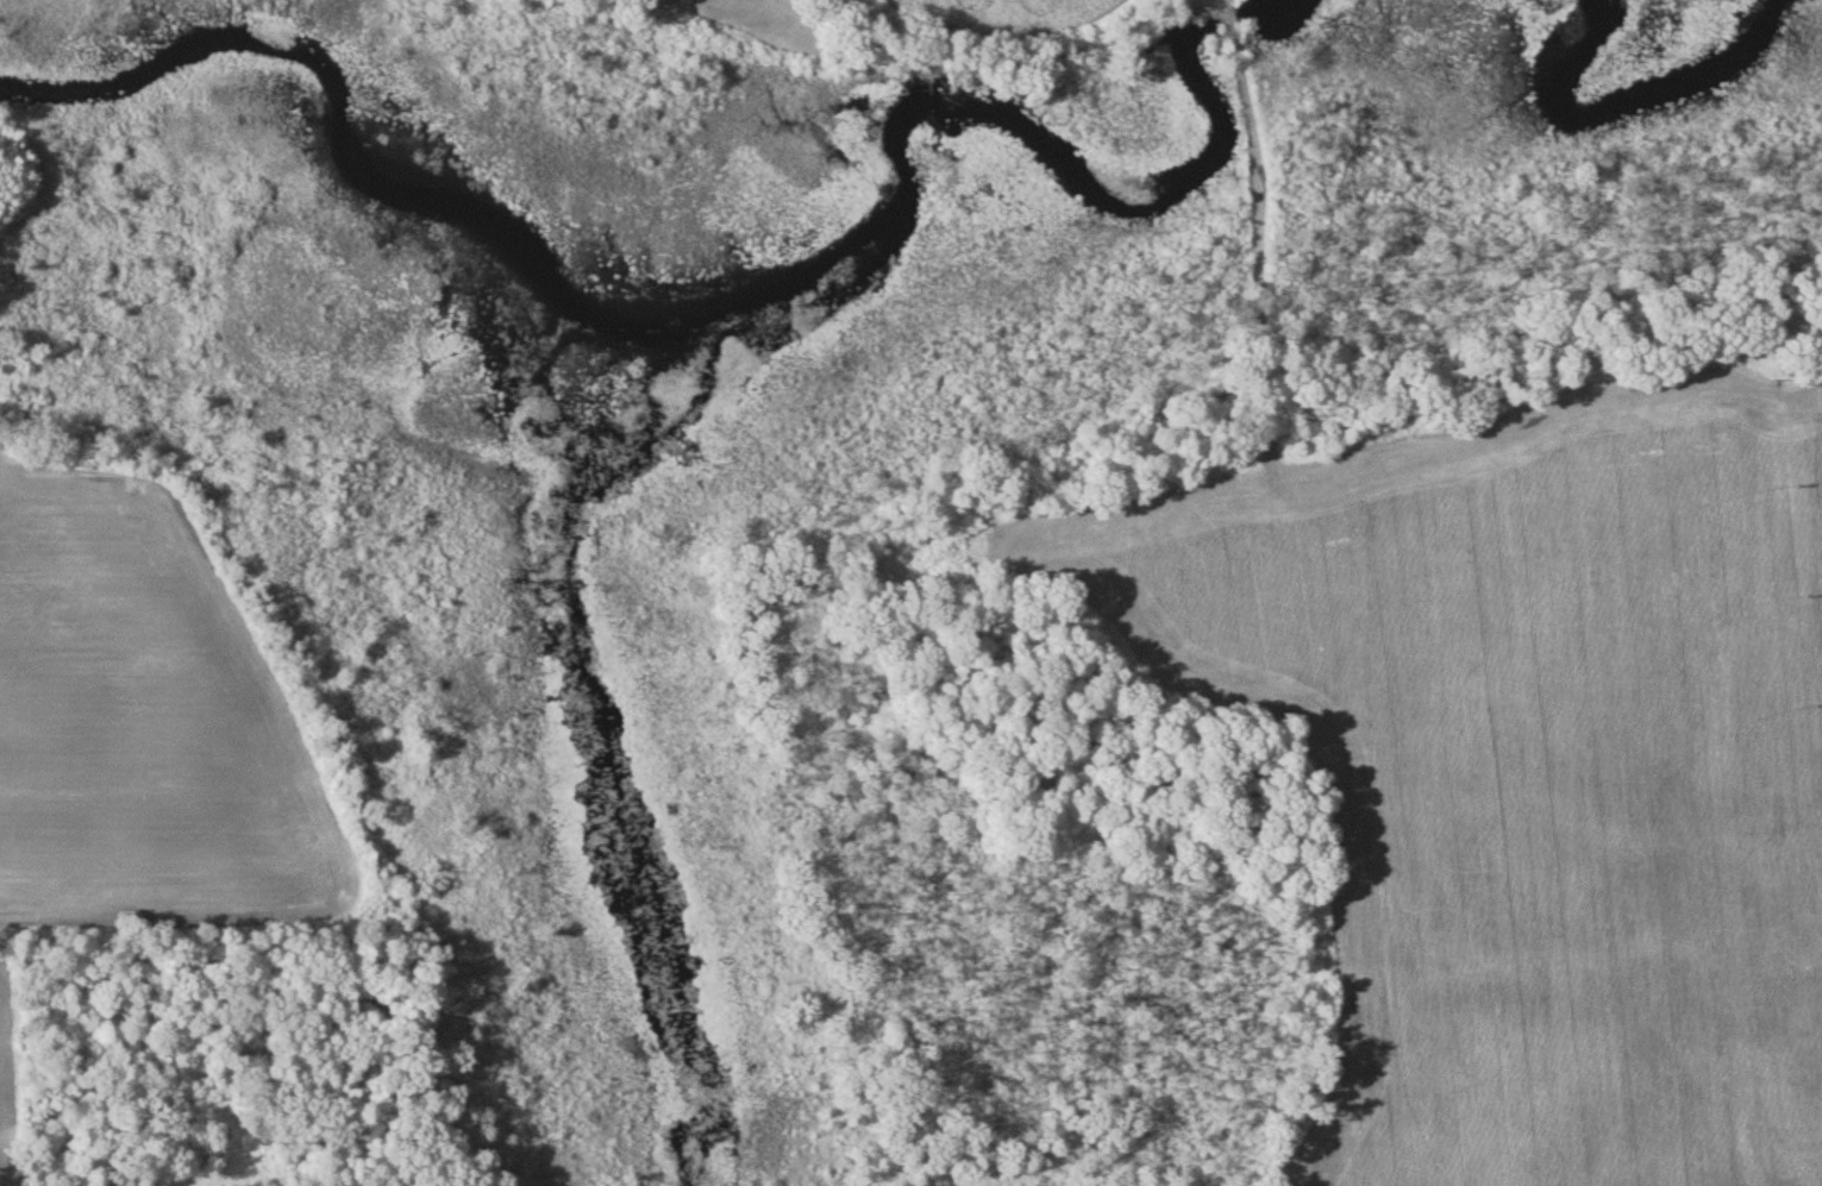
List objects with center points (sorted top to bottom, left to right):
river: (1602, 101)
river: (382, 174)
river: (707, 369)
river: (525, 387)

